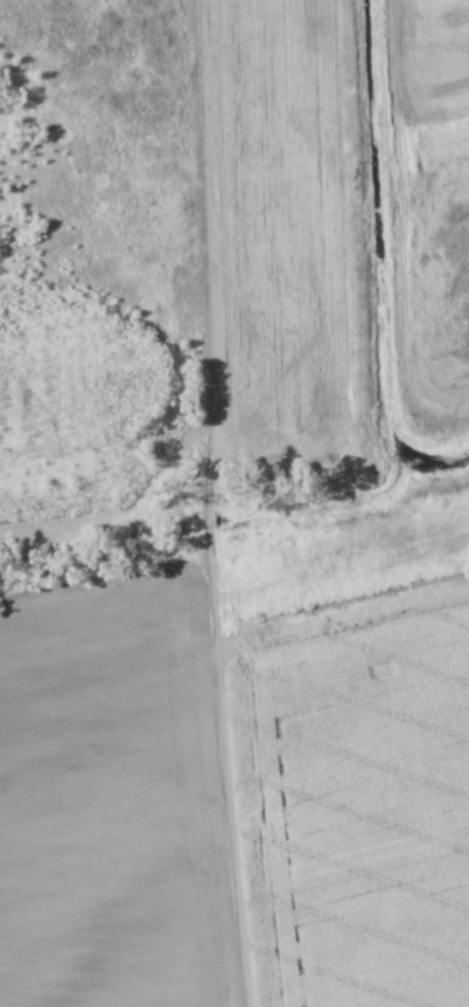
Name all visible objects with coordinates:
road: (215, 504)

